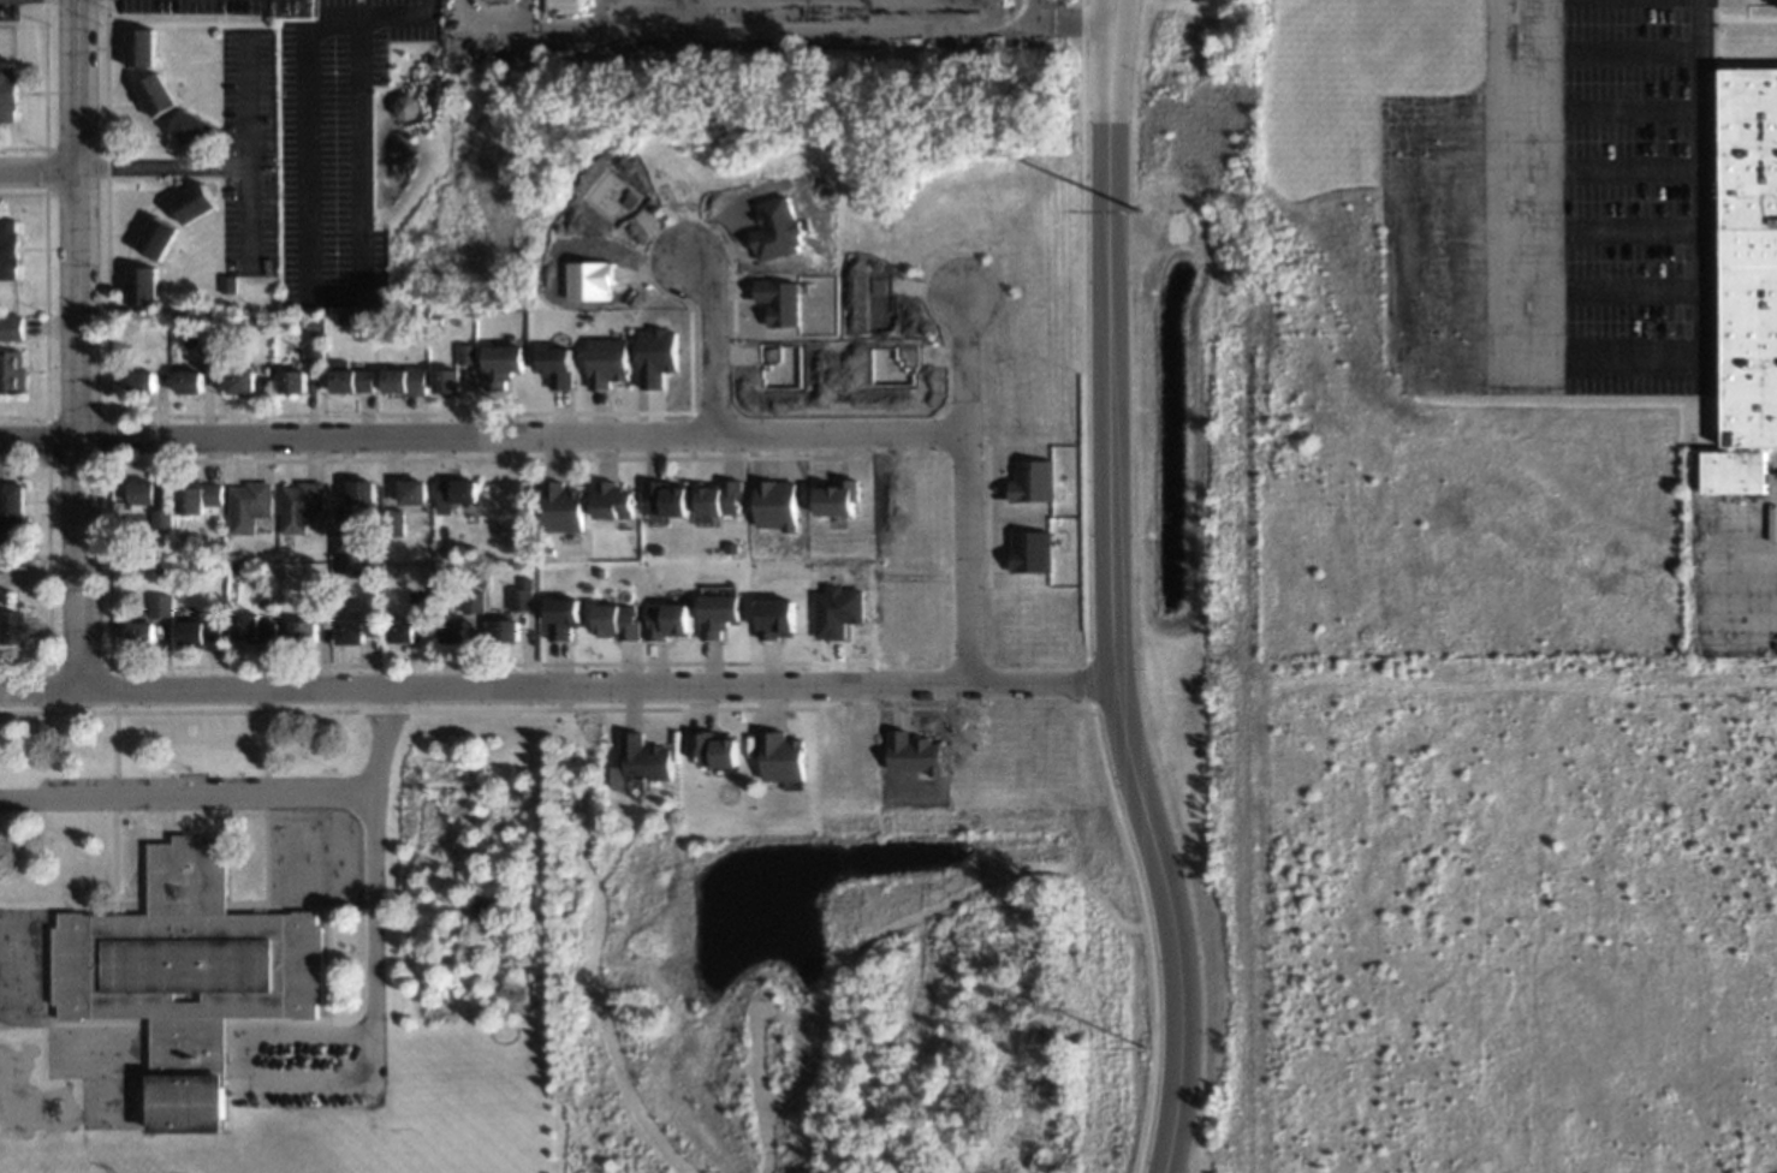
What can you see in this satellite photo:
road: (1109, 14)
road: (399, 17)
building: (141, 48)
building: (10, 91)
building: (156, 95)
building: (409, 109)
building: (194, 130)
parking lot: (333, 147)
road: (228, 167)
road: (38, 174)
building: (194, 203)
road: (250, 219)
building: (778, 230)
building: (156, 238)
building: (10, 249)
power tower: (1139, 263)
building: (1747, 282)
building: (142, 285)
road: (309, 294)
building: (780, 302)
building: (11, 328)
road: (706, 337)
road: (77, 346)
building: (313, 355)
building: (466, 355)
building: (207, 356)
building: (656, 357)
building: (607, 362)
building: (501, 364)
building: (558, 368)
building: (12, 373)
building: (351, 379)
building: (142, 381)
building: (292, 381)
building: (404, 381)
building: (447, 381)
road: (1601, 381)
building: (189, 382)
building: (240, 382)
road: (480, 440)
building: (1033, 482)
road: (961, 488)
building: (361, 493)
building: (412, 493)
building: (454, 494)
building: (142, 495)
building: (718, 498)
building: (200, 499)
building: (662, 499)
building: (837, 499)
building: (11, 501)
building: (611, 501)
building: (774, 505)
building: (249, 506)
building: (301, 506)
building: (560, 507)
building: (161, 519)
building: (4, 538)
building: (343, 549)
building: (1030, 552)
building: (521, 599)
building: (471, 602)
building: (160, 606)
road: (1107, 608)
building: (836, 612)
building: (715, 615)
building: (561, 618)
building: (775, 618)
building: (614, 621)
building: (665, 621)
building: (12, 627)
building: (252, 627)
building: (303, 631)
building: (402, 631)
building: (452, 631)
building: (350, 632)
building: (504, 632)
building: (141, 633)
building: (200, 633)
road: (553, 691)
building: (712, 749)
building: (911, 754)
building: (778, 756)
building: (638, 762)
road: (230, 797)
road: (257, 798)
road: (108, 800)
road: (296, 905)
road: (919, 911)
road: (588, 939)
park: (852, 963)
building: (186, 977)
road: (1124, 1010)
power tower: (1145, 1055)
parking lot: (298, 1064)
road: (357, 1082)
road: (670, 1172)

